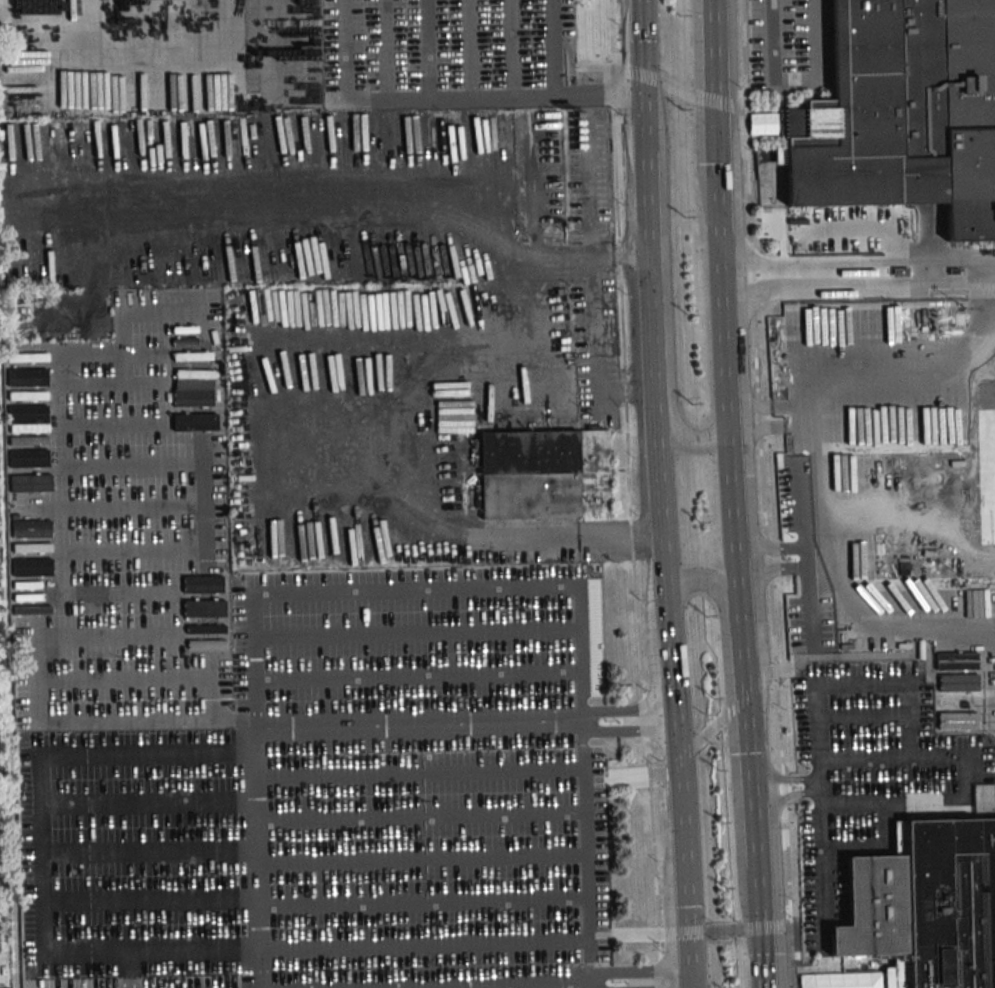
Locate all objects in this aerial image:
road: (643, 45)
road: (710, 49)
traffic signals: (644, 75)
road: (796, 79)
road: (445, 96)
traffic signals: (712, 98)
building: (903, 113)
park: (771, 187)
road: (715, 191)
road: (648, 244)
road: (667, 322)
road: (593, 351)
road: (830, 388)
road: (725, 403)
road: (401, 412)
building: (544, 475)
road: (661, 489)
road: (762, 494)
road: (734, 567)
road: (706, 583)
road: (738, 629)
road: (945, 633)
road: (668, 643)
traffic signals: (742, 701)
road: (616, 707)
road: (734, 707)
road: (742, 719)
road: (255, 725)
road: (617, 732)
traffic signals: (675, 759)
road: (678, 761)
road: (52, 778)
road: (635, 778)
road: (749, 829)
road: (820, 830)
road: (680, 845)
building: (926, 906)
road: (753, 928)
traffic signals: (754, 929)
traffic signals: (686, 933)
road: (634, 970)

